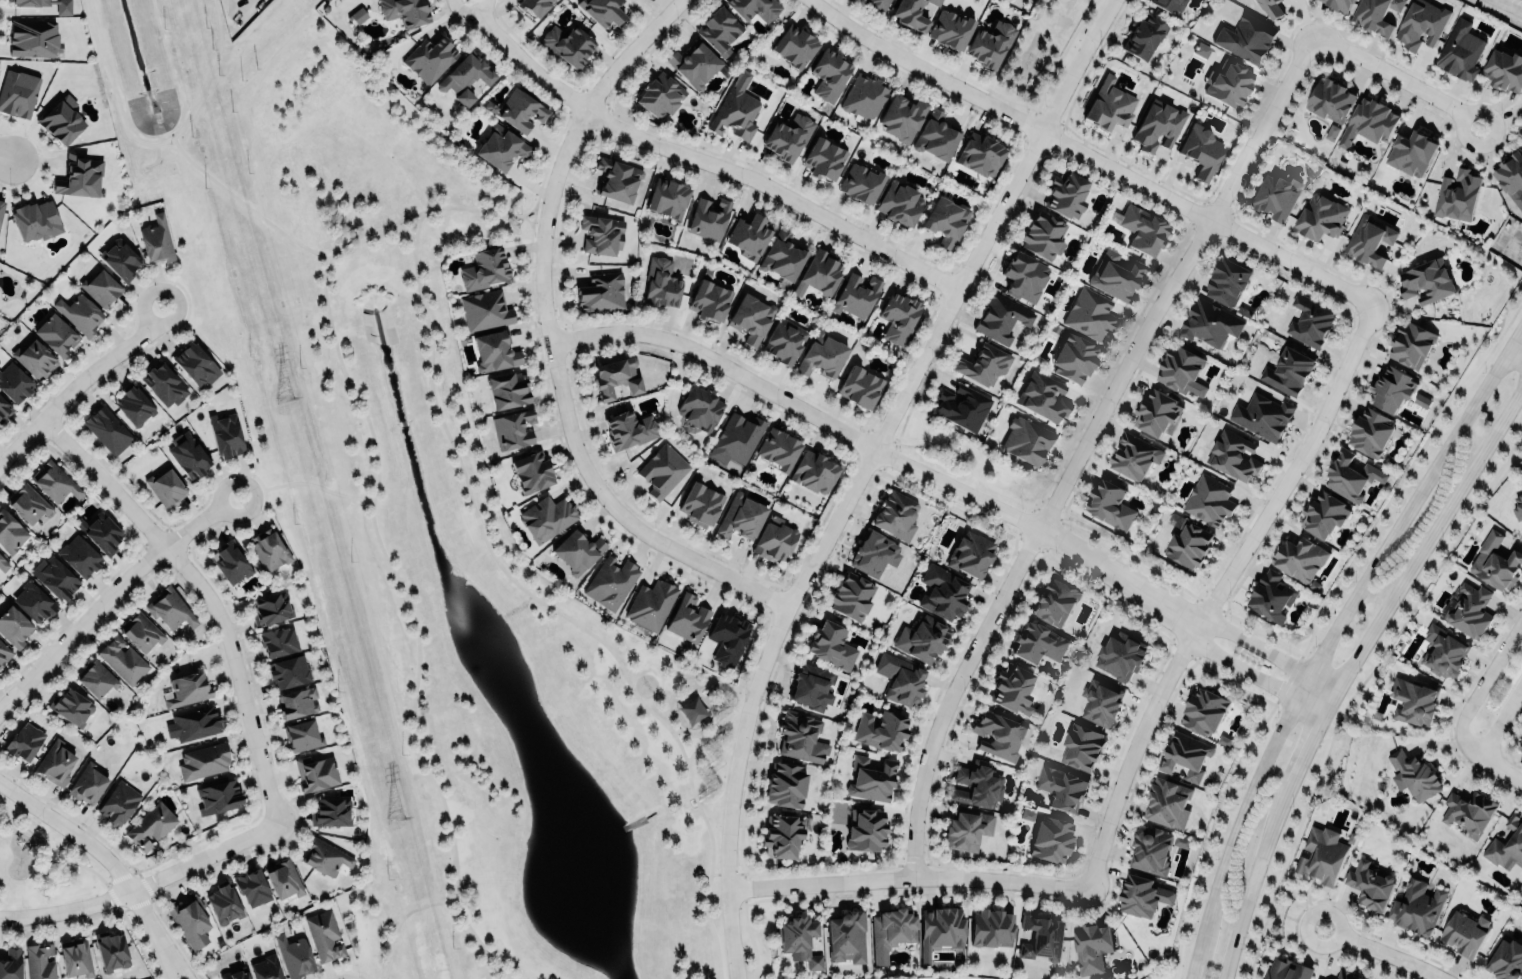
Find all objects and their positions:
building: (1352, 0)
building: (878, 4)
building: (1339, 4)
building: (1169, 5)
building: (534, 6)
road: (1508, 6)
building: (63, 8)
building: (756, 8)
building: (1271, 8)
building: (405, 11)
building: (602, 11)
building: (911, 14)
building: (1375, 14)
building: (358, 15)
building: (1421, 23)
building: (950, 26)
building: (719, 28)
building: (1144, 37)
building: (34, 38)
building: (1246, 38)
building: (991, 43)
building: (795, 44)
building: (567, 45)
building: (1201, 49)
building: (1460, 50)
building: (429, 58)
building: (694, 63)
building: (1504, 69)
building: (829, 73)
building: (466, 78)
road: (1396, 78)
building: (1228, 81)
building: (18, 91)
building: (659, 94)
building: (864, 96)
building: (1330, 98)
building: (1109, 103)
building: (734, 109)
building: (521, 110)
building: (902, 116)
building: (60, 118)
building: (1373, 118)
building: (1157, 124)
building: (1331, 132)
building: (935, 135)
building: (788, 137)
road: (154, 143)
road: (3, 144)
building: (501, 148)
building: (1201, 148)
building: (1411, 151)
building: (980, 152)
road: (1085, 158)
building: (824, 159)
road: (699, 160)
building: (1510, 172)
building: (79, 174)
building: (618, 175)
building: (861, 181)
building: (1066, 192)
building: (1457, 195)
building: (1275, 196)
building: (668, 198)
building: (899, 201)
road: (244, 203)
building: (1, 205)
road: (532, 209)
building: (709, 217)
building: (1320, 217)
building: (35, 219)
building: (945, 220)
building: (1141, 227)
road: (404, 229)
building: (601, 233)
building: (749, 234)
building: (1042, 234)
building: (157, 238)
building: (1370, 242)
building: (782, 254)
building: (120, 257)
building: (481, 266)
building: (818, 270)
building: (1115, 273)
building: (1024, 275)
building: (1425, 279)
building: (1227, 280)
building: (661, 282)
building: (101, 286)
building: (600, 290)
building: (855, 294)
building: (710, 301)
building: (485, 310)
building: (79, 311)
building: (1090, 314)
building: (751, 316)
building: (899, 316)
building: (1001, 318)
building: (1310, 321)
building: (1207, 323)
building: (56, 333)
road: (547, 337)
building: (784, 339)
building: (1411, 344)
road: (1516, 344)
building: (494, 349)
road: (1516, 351)
building: (822, 355)
building: (34, 357)
building: (1074, 357)
building: (195, 364)
building: (983, 364)
building: (1181, 370)
building: (1288, 370)
building: (616, 377)
building: (13, 381)
building: (163, 384)
building: (860, 385)
road: (82, 386)
building: (508, 389)
building: (1393, 389)
building: (1044, 394)
building: (1422, 401)
power tower: (284, 402)
building: (133, 403)
building: (700, 406)
building: (962, 406)
building: (4, 407)
building: (1156, 411)
building: (1262, 415)
building: (107, 428)
building: (513, 429)
building: (629, 429)
building: (1370, 429)
building: (225, 434)
building: (737, 438)
building: (1027, 439)
building: (779, 446)
road: (1082, 447)
road: (878, 452)
building: (188, 454)
building: (1232, 454)
building: (1133, 456)
building: (532, 469)
building: (662, 471)
building: (814, 472)
road: (859, 472)
building: (1353, 475)
building: (54, 481)
road: (302, 482)
building: (165, 486)
building: (1209, 500)
building: (28, 503)
building: (1109, 503)
building: (700, 504)
building: (1518, 506)
road: (369, 512)
building: (1323, 513)
building: (741, 515)
building: (896, 515)
building: (546, 517)
building: (10, 532)
building: (100, 532)
road: (1089, 536)
building: (774, 539)
road: (1424, 542)
building: (1188, 544)
building: (269, 548)
building: (578, 549)
building: (874, 552)
building: (970, 552)
building: (79, 555)
park: (437, 555)
building: (1300, 558)
building: (230, 560)
building: (1495, 561)
building: (3, 563)
building: (55, 576)
road: (1073, 576)
building: (611, 582)
building: (942, 590)
road: (216, 591)
road: (110, 593)
road: (1215, 593)
building: (1271, 595)
building: (852, 596)
building: (34, 600)
building: (1054, 600)
building: (651, 604)
road: (550, 605)
building: (271, 607)
building: (170, 609)
building: (1470, 610)
building: (688, 618)
road: (1313, 621)
building: (14, 625)
building: (141, 630)
building: (727, 636)
road: (1327, 638)
building: (922, 639)
building: (278, 640)
building: (1037, 643)
building: (832, 644)
building: (1443, 648)
building: (4, 651)
road: (1264, 653)
building: (1120, 655)
building: (122, 659)
building: (289, 671)
road: (1251, 676)
building: (95, 677)
building: (902, 679)
building: (812, 685)
road: (1355, 686)
building: (1010, 687)
building: (187, 689)
road: (739, 689)
road: (1476, 689)
building: (1101, 701)
building: (297, 702)
building: (1414, 702)
building: (71, 705)
building: (1204, 712)
building: (194, 722)
road: (1500, 724)
building: (881, 730)
building: (301, 734)
road: (688, 734)
building: (998, 734)
building: (800, 736)
building: (25, 741)
building: (1082, 746)
building: (1520, 746)
road: (1300, 750)
building: (1185, 754)
building: (203, 760)
building: (55, 761)
building: (316, 771)
building: (1413, 773)
road: (1500, 773)
building: (871, 779)
building: (87, 782)
building: (977, 783)
building: (785, 784)
building: (1062, 787)
building: (217, 796)
building: (118, 802)
building: (1168, 802)
building: (1467, 810)
building: (330, 811)
power tower: (393, 816)
building: (150, 825)
building: (966, 828)
building: (865, 829)
building: (782, 834)
road: (82, 839)
building: (1052, 839)
building: (1181, 841)
building: (1506, 845)
building: (1151, 850)
building: (1322, 854)
building: (324, 856)
park: (40, 862)
road: (718, 873)
building: (283, 878)
road: (906, 883)
road: (143, 884)
building: (1369, 884)
building: (252, 886)
road: (1246, 889)
building: (1143, 895)
building: (223, 904)
building: (1417, 905)
road: (398, 919)
building: (190, 920)
road: (1295, 921)
building: (942, 925)
building: (892, 927)
building: (991, 927)
building: (1465, 933)
building: (323, 934)
road: (748, 935)
building: (846, 936)
building: (1042, 936)
building: (799, 940)
building: (1091, 946)
road: (155, 948)
road: (164, 948)
building: (110, 950)
road: (1382, 953)
building: (293, 955)
building: (76, 958)
road: (485, 958)
building: (39, 961)
building: (1505, 961)
building: (11, 964)
building: (266, 968)
road: (494, 968)
building: (1286, 969)
building: (234, 973)
building: (1347, 975)

